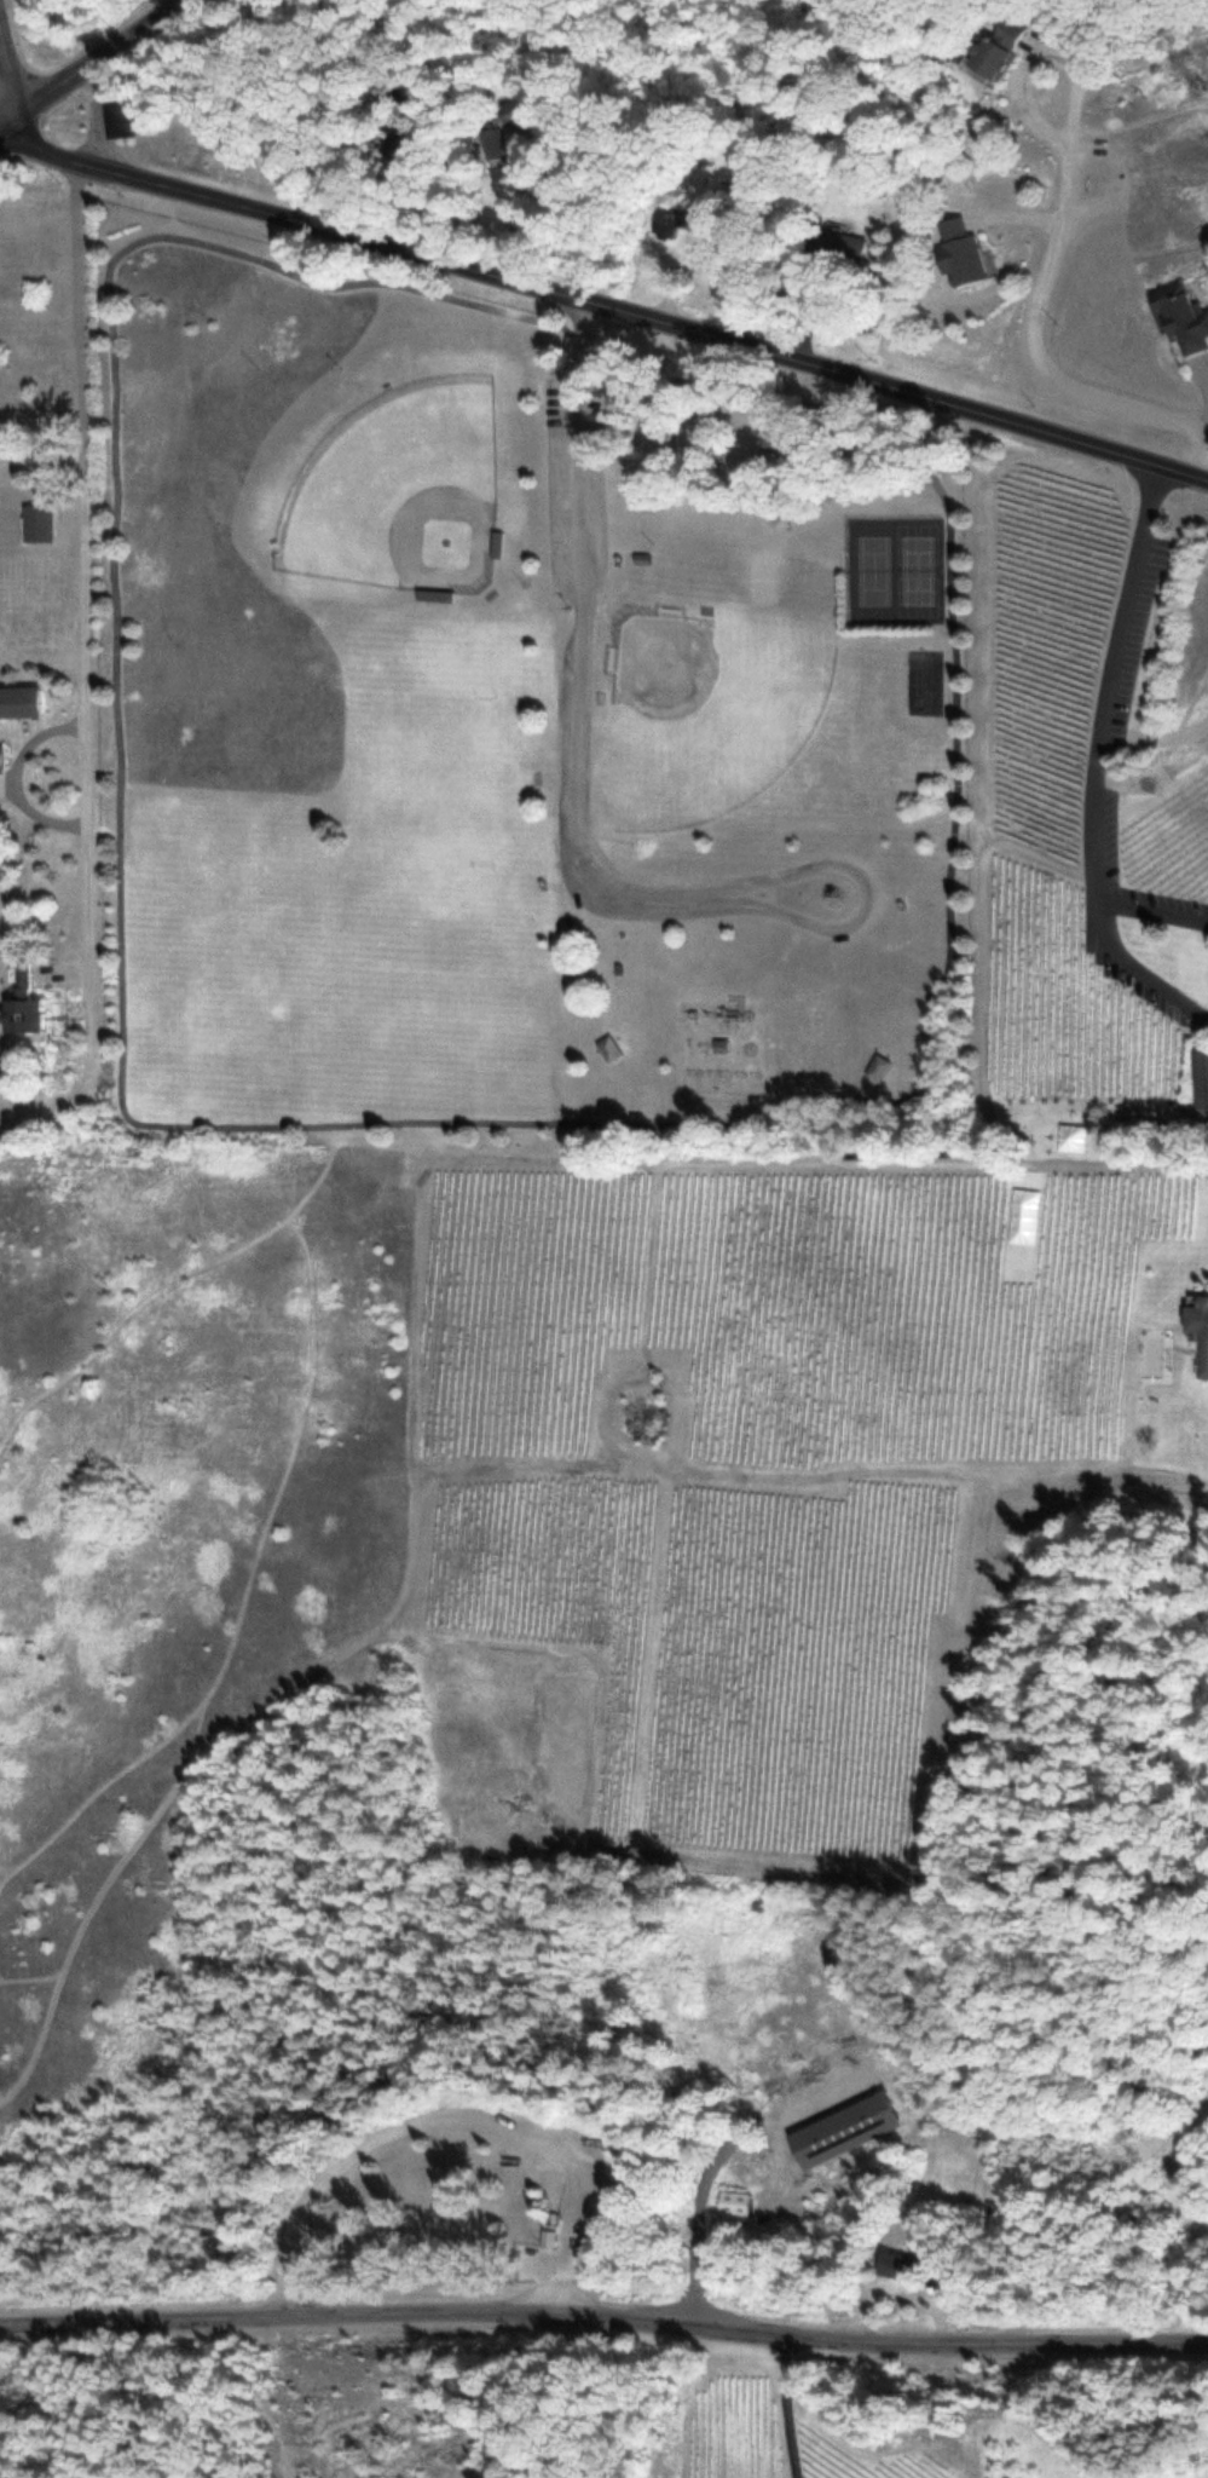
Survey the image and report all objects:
building: (995, 48)
road: (88, 63)
road: (8, 67)
road: (96, 114)
building: (119, 117)
building: (495, 142)
building: (669, 224)
building: (837, 244)
building: (958, 252)
road: (605, 299)
building: (1181, 317)
road: (1039, 367)
park: (404, 486)
parking lot: (578, 486)
building: (36, 521)
park: (919, 566)
park: (875, 567)
road: (83, 570)
park: (765, 574)
park: (926, 678)
road: (1110, 679)
park: (712, 708)
road: (578, 805)
road: (1102, 937)
road: (983, 945)
building: (22, 1003)
building: (608, 1048)
building: (878, 1067)
building: (1200, 1072)
park: (394, 1119)
road: (356, 1122)
building: (1131, 1129)
road: (936, 1159)
building: (1198, 1327)
building: (842, 2130)
building: (734, 2201)
building: (547, 2236)
building: (895, 2265)
road: (603, 2316)
road: (787, 2405)

